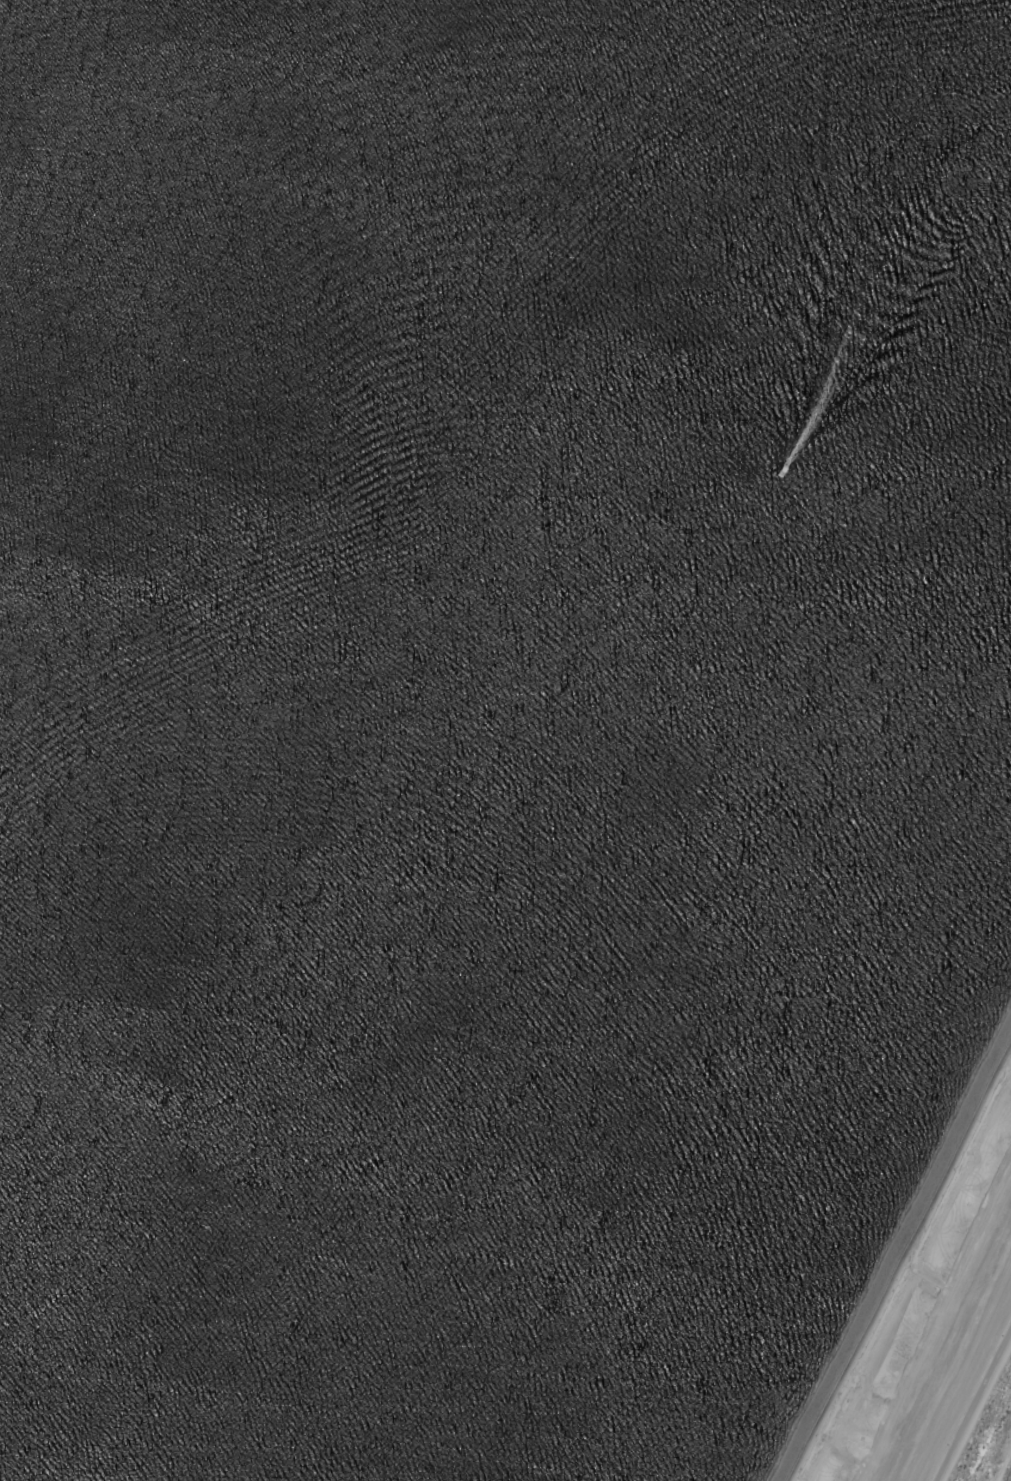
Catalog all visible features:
park: (935, 1332)
road: (972, 1404)

